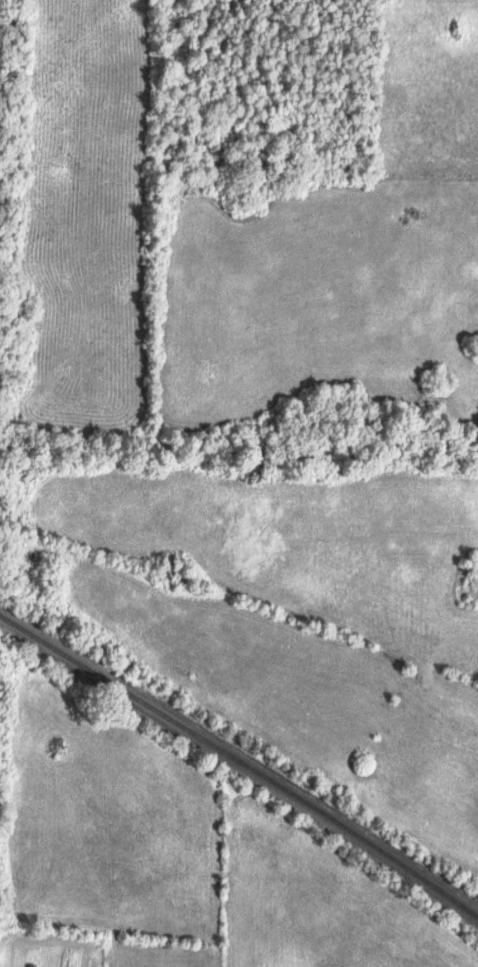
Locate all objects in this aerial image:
railway: (240, 763)

